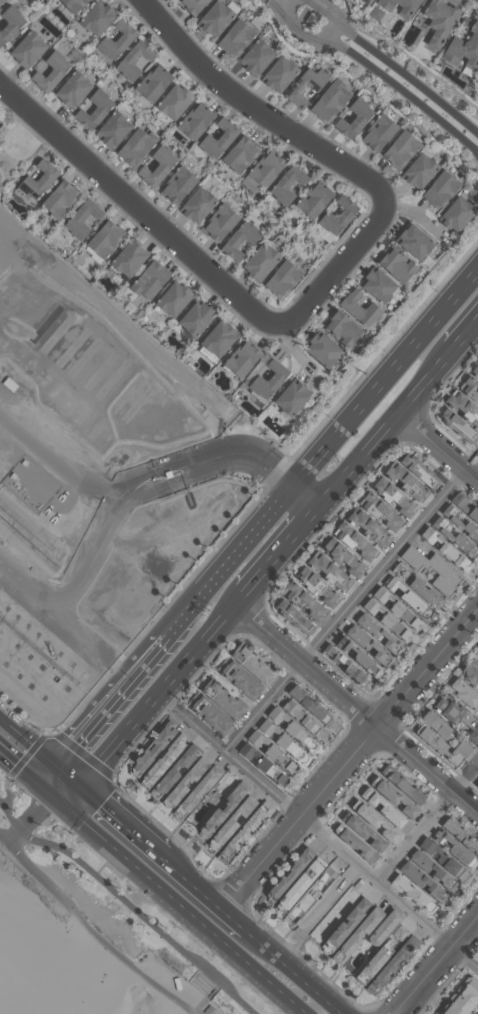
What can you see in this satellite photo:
building: (445, 0)
building: (1, 1)
building: (83, 1)
building: (365, 2)
building: (69, 5)
building: (191, 5)
building: (407, 9)
building: (94, 18)
building: (214, 19)
building: (439, 19)
building: (9, 22)
building: (234, 37)
building: (115, 40)
building: (464, 45)
building: (25, 49)
building: (255, 58)
building: (132, 60)
road: (393, 68)
building: (48, 70)
road: (376, 71)
building: (277, 75)
building: (152, 84)
building: (304, 86)
building: (71, 90)
building: (329, 101)
building: (172, 102)
road: (258, 108)
building: (92, 109)
building: (352, 119)
building: (194, 122)
building: (112, 128)
building: (378, 132)
building: (217, 139)
building: (135, 147)
building: (400, 150)
building: (239, 154)
building: (156, 167)
building: (262, 171)
building: (419, 171)
building: (35, 181)
building: (177, 185)
building: (286, 185)
building: (439, 189)
building: (57, 201)
building: (313, 201)
building: (196, 205)
road: (139, 206)
building: (456, 215)
building: (336, 217)
building: (81, 220)
building: (218, 224)
building: (104, 239)
building: (239, 240)
building: (416, 243)
building: (127, 258)
building: (259, 262)
road: (342, 267)
building: (397, 267)
building: (282, 278)
building: (148, 280)
building: (376, 286)
building: (172, 299)
building: (358, 309)
building: (195, 319)
building: (340, 329)
road: (464, 334)
building: (217, 339)
building: (322, 351)
building: (241, 360)
road: (385, 370)
building: (473, 372)
building: (268, 381)
building: (15, 384)
building: (469, 389)
building: (291, 400)
building: (462, 408)
road: (386, 425)
building: (457, 425)
road: (438, 446)
road: (245, 453)
road: (56, 461)
road: (157, 466)
building: (420, 469)
building: (407, 481)
road: (165, 485)
road: (307, 490)
building: (394, 496)
building: (465, 505)
building: (380, 511)
building: (461, 522)
building: (369, 527)
building: (456, 536)
building: (355, 540)
building: (445, 548)
road: (97, 550)
road: (281, 553)
road: (226, 555)
building: (344, 555)
building: (329, 570)
building: (433, 570)
road: (28, 581)
building: (317, 586)
building: (408, 597)
building: (305, 600)
road: (352, 604)
building: (398, 609)
building: (295, 616)
building: (388, 620)
building: (379, 632)
building: (370, 644)
building: (360, 656)
building: (476, 658)
building: (257, 664)
building: (349, 666)
building: (470, 672)
building: (245, 680)
road: (82, 687)
building: (465, 692)
road: (162, 693)
road: (108, 694)
building: (227, 699)
building: (311, 703)
road: (357, 710)
building: (214, 714)
building: (280, 715)
building: (457, 715)
building: (308, 720)
building: (437, 722)
road: (194, 723)
building: (271, 727)
road: (27, 732)
building: (302, 735)
building: (260, 739)
building: (284, 740)
building: (441, 747)
building: (157, 748)
building: (251, 751)
traffic signals: (55, 756)
road: (352, 757)
building: (166, 759)
building: (277, 764)
road: (70, 768)
road: (26, 771)
building: (177, 771)
road: (54, 775)
traffic signals: (85, 781)
building: (476, 781)
building: (182, 785)
building: (404, 785)
road: (69, 788)
building: (202, 788)
traffic signals: (53, 795)
building: (397, 798)
building: (227, 807)
building: (385, 808)
road: (39, 814)
road: (126, 816)
building: (233, 819)
building: (378, 822)
road: (428, 823)
building: (251, 825)
building: (366, 832)
road: (15, 834)
building: (461, 837)
road: (39, 839)
building: (359, 845)
building: (453, 849)
road: (352, 859)
building: (442, 860)
building: (292, 872)
building: (432, 872)
building: (301, 884)
building: (423, 884)
road: (210, 887)
building: (312, 895)
building: (413, 895)
road: (180, 904)
building: (348, 925)
building: (385, 927)
road: (90, 931)
building: (358, 936)
road: (173, 941)
building: (12, 948)
building: (381, 954)
building: (392, 965)
road: (437, 966)
road: (304, 968)
building: (463, 998)
building: (212, 1010)

